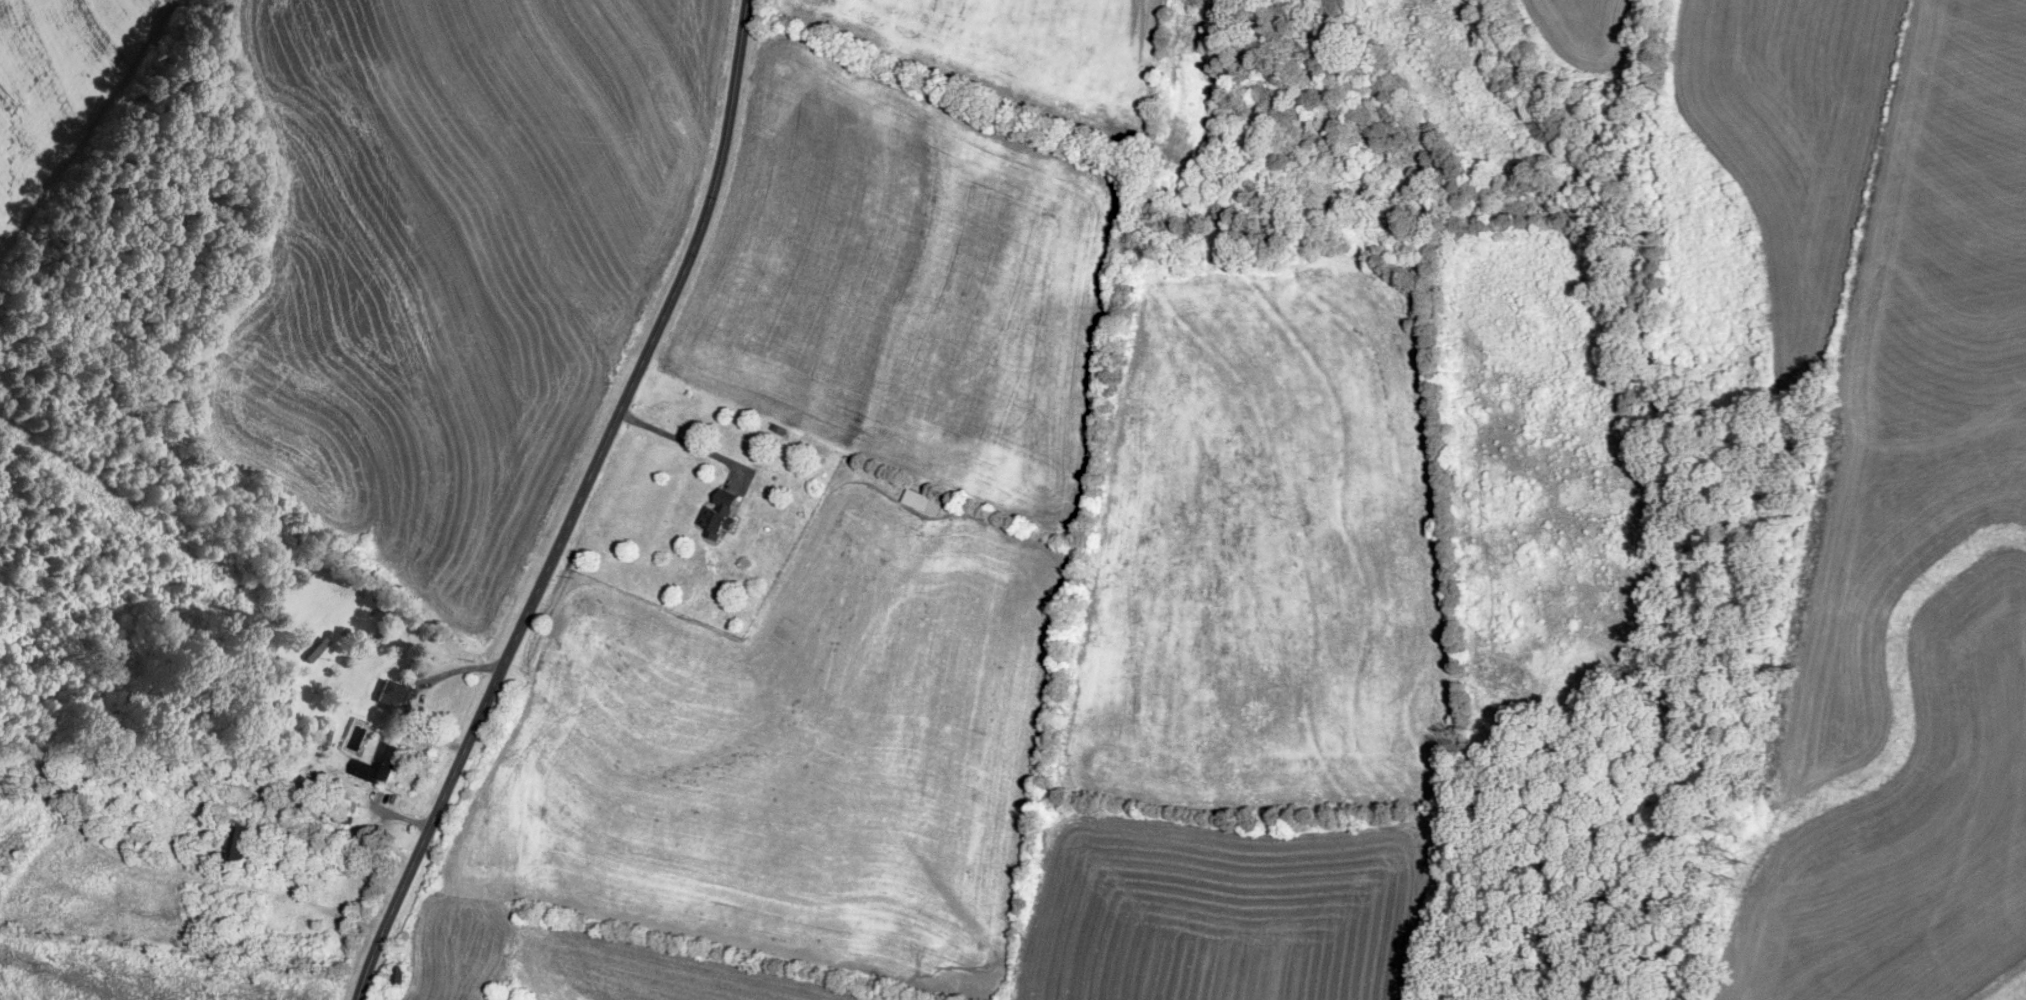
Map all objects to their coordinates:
road: (679, 441)
road: (577, 505)
building: (721, 516)
building: (318, 650)
building: (395, 694)
building: (380, 766)
building: (242, 838)
building: (401, 978)

